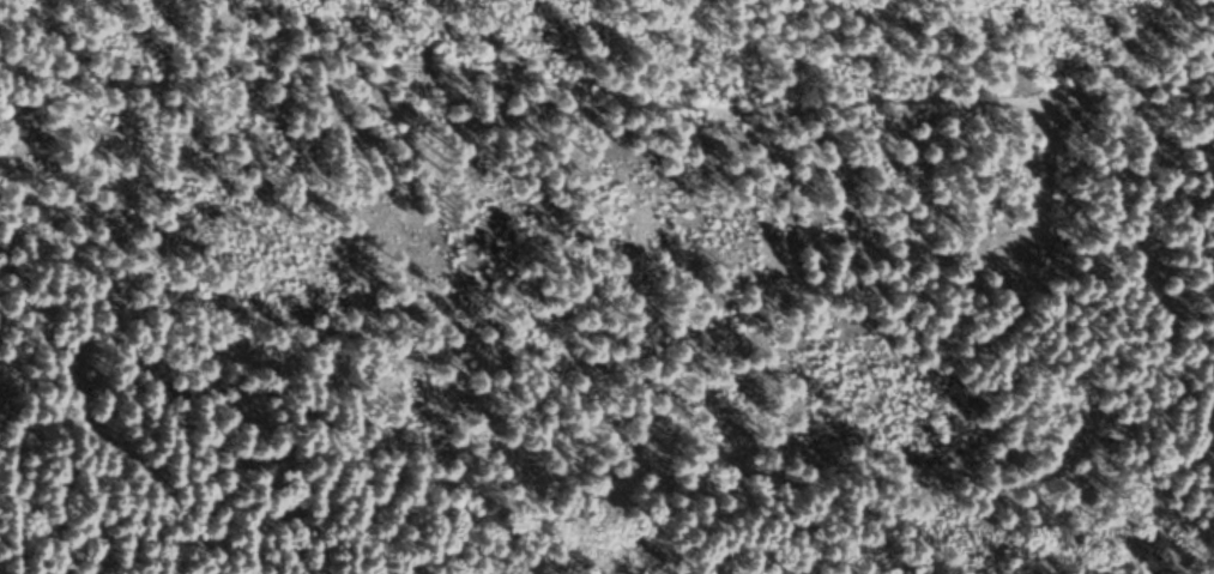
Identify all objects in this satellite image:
road: (982, 49)
road: (603, 92)
road: (1017, 373)

